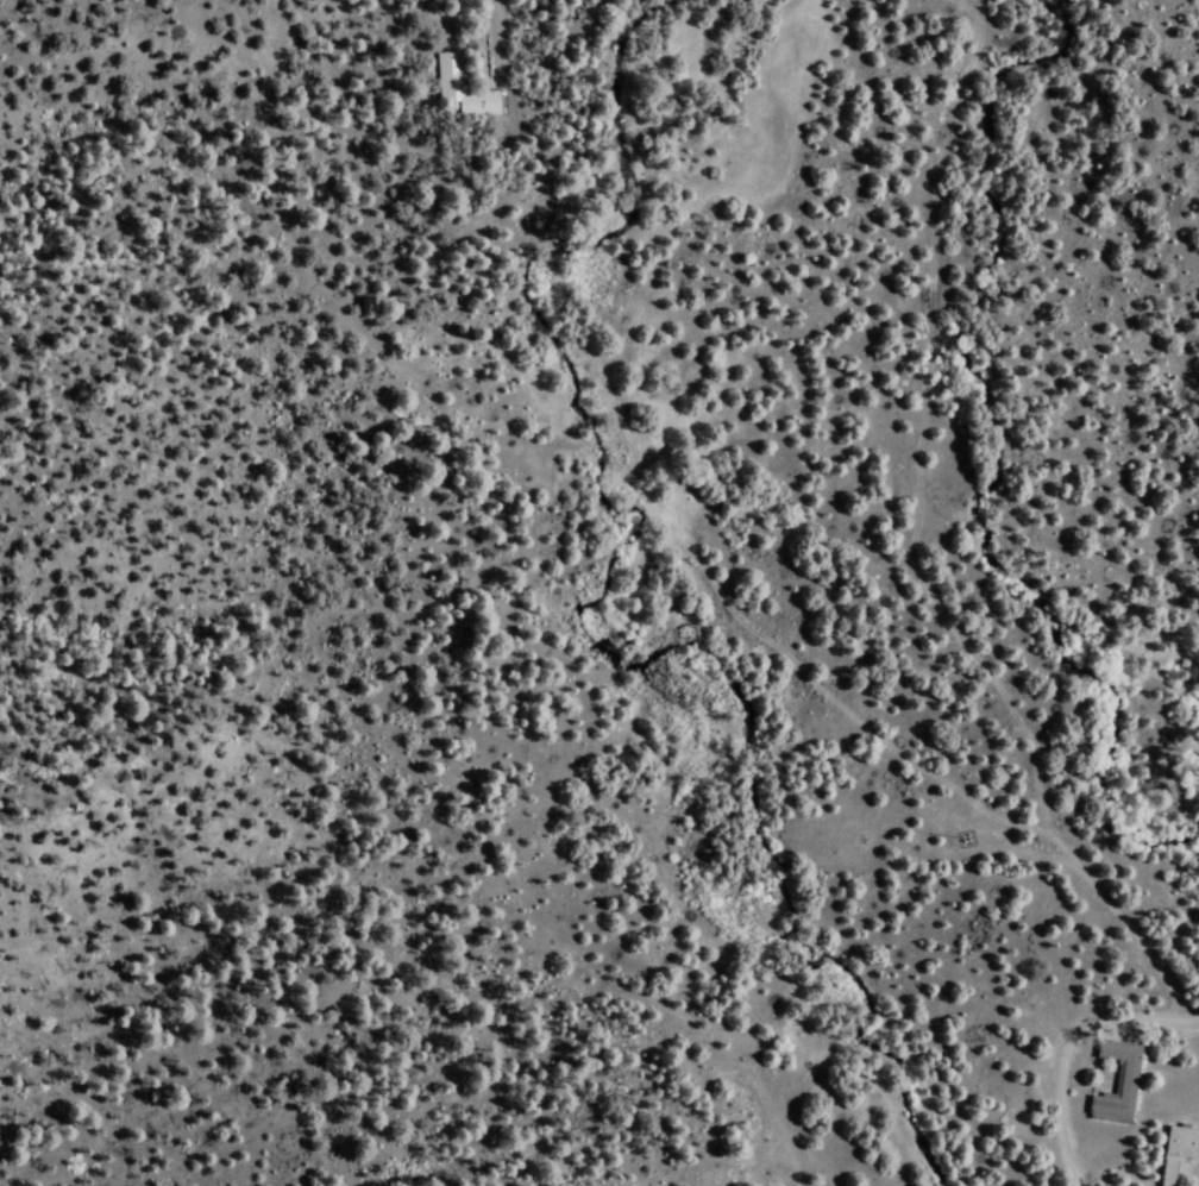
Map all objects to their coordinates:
road: (498, 40)
building: (448, 69)
road: (919, 462)
road: (665, 533)
road: (1066, 1049)
building: (1117, 1081)
building: (1175, 1152)

